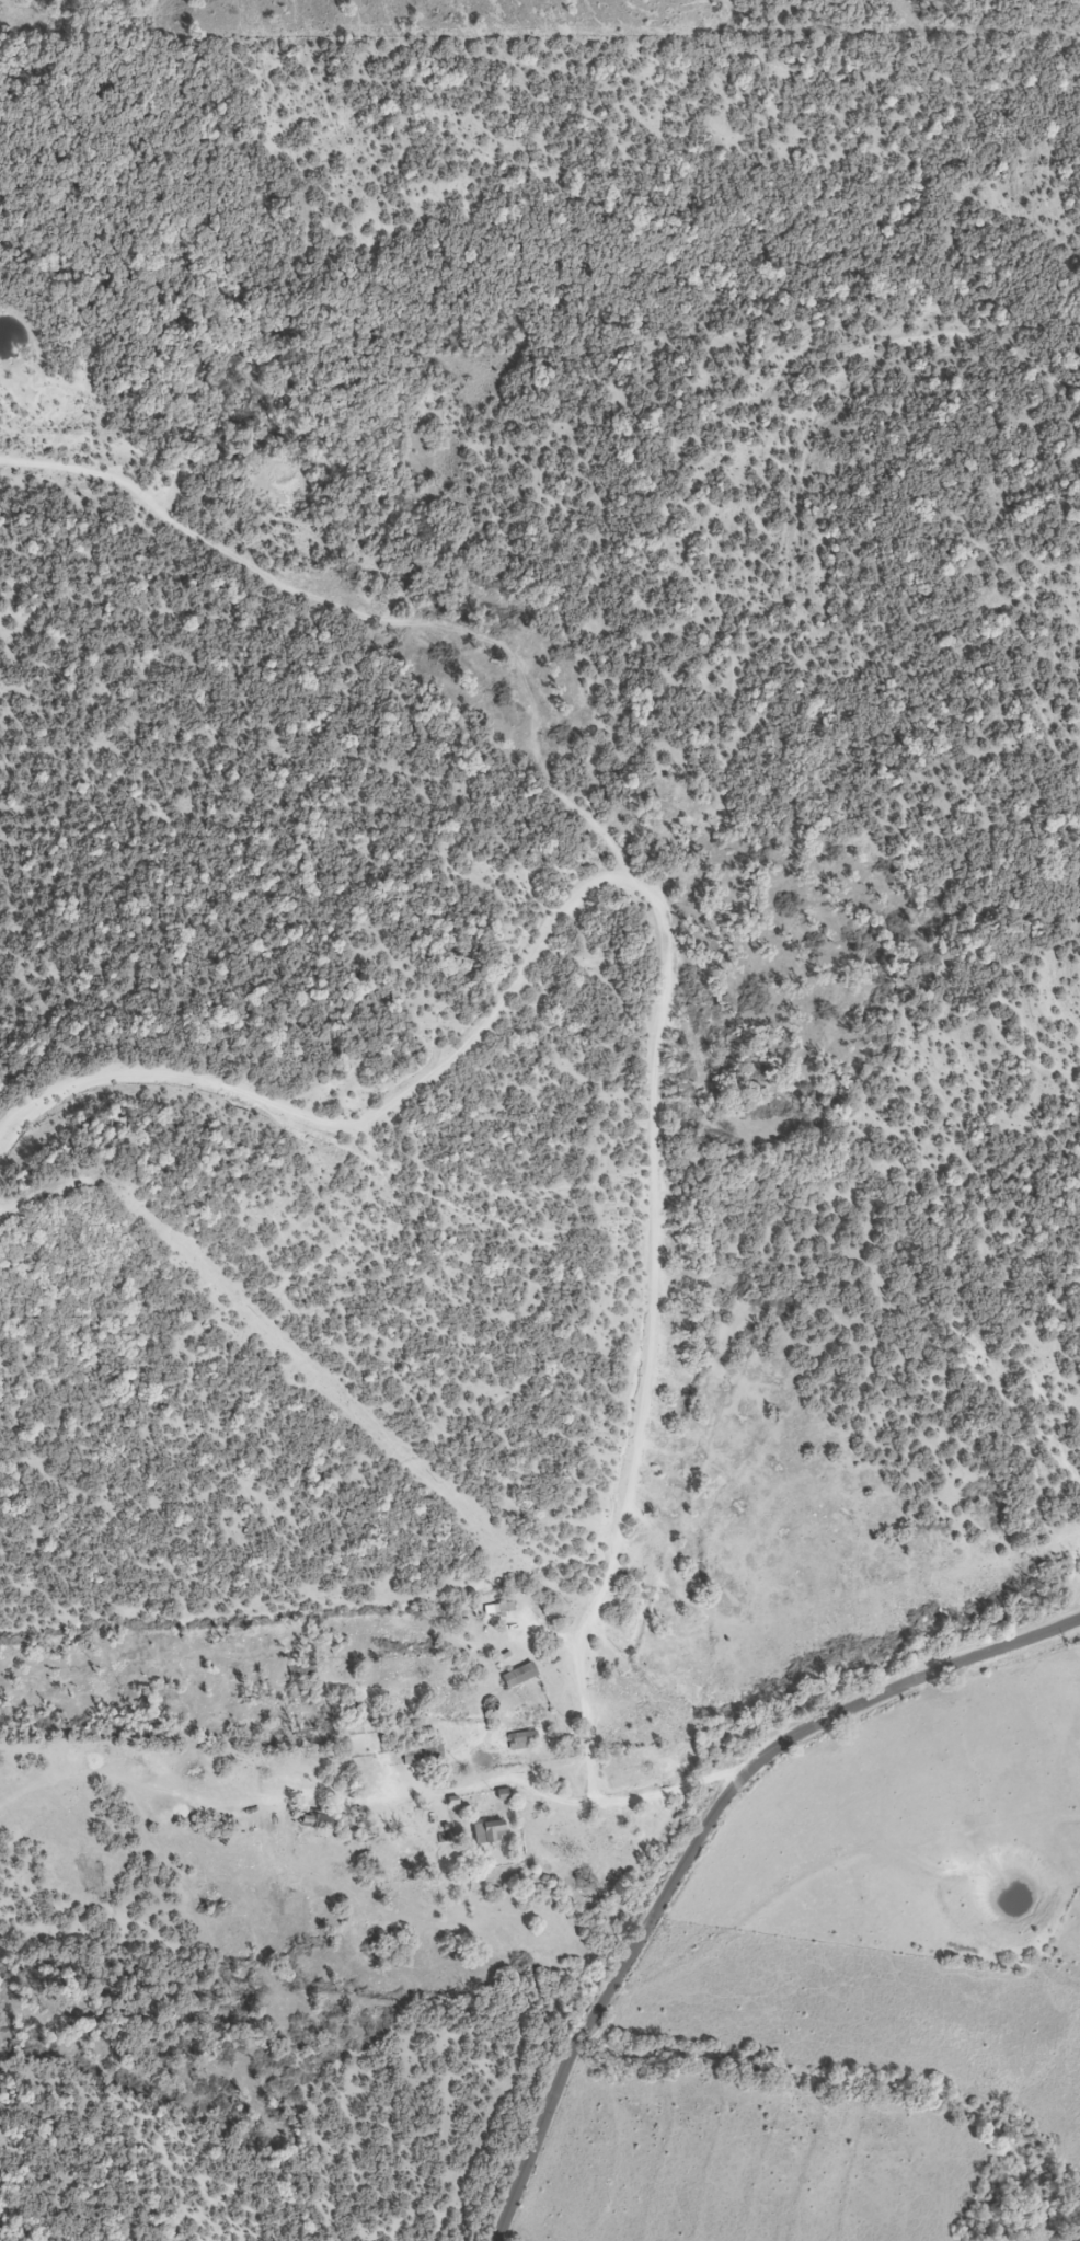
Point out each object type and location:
road: (631, 882)
road: (30, 1199)
building: (519, 1676)
road: (586, 1711)
building: (522, 1739)
road: (581, 1806)
building: (318, 1823)
building: (489, 1834)
road: (701, 1837)

